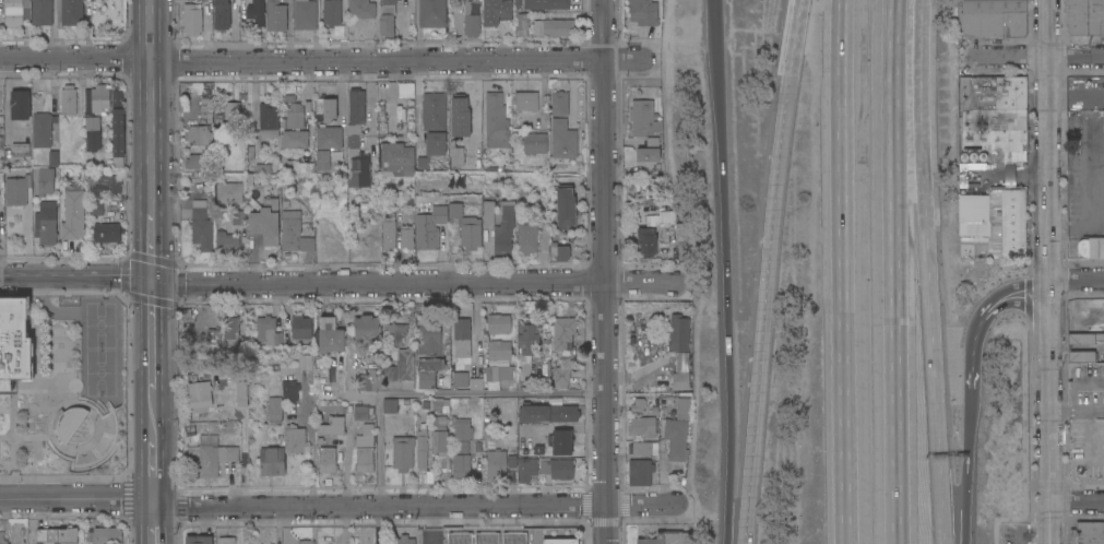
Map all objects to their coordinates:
building: (515, 2)
building: (546, 4)
building: (361, 9)
building: (72, 11)
building: (14, 12)
building: (41, 12)
building: (332, 12)
building: (495, 12)
building: (643, 12)
building: (256, 13)
building: (432, 13)
building: (304, 14)
building: (222, 15)
building: (276, 15)
building: (385, 17)
building: (994, 17)
building: (1085, 17)
building: (192, 20)
building: (470, 22)
building: (520, 24)
building: (560, 24)
road: (716, 26)
building: (536, 27)
road: (150, 31)
road: (1076, 58)
road: (322, 61)
building: (99, 98)
building: (288, 98)
building: (69, 100)
building: (524, 100)
building: (560, 103)
building: (20, 105)
road: (417, 105)
building: (307, 106)
building: (325, 108)
building: (206, 109)
road: (340, 109)
building: (435, 111)
building: (994, 115)
building: (294, 116)
building: (460, 116)
building: (355, 117)
building: (643, 118)
building: (232, 119)
building: (269, 120)
building: (496, 121)
building: (524, 121)
building: (283, 123)
building: (41, 129)
building: (118, 129)
building: (1103, 129)
building: (93, 132)
building: (199, 135)
road: (151, 137)
building: (329, 138)
building: (295, 139)
building: (563, 139)
road: (916, 141)
building: (435, 143)
building: (534, 143)
building: (21, 150)
building: (648, 151)
building: (396, 156)
building: (456, 156)
building: (54, 157)
building: (321, 159)
building: (199, 161)
building: (292, 167)
building: (261, 168)
building: (357, 168)
building: (46, 180)
building: (103, 184)
building: (16, 189)
building: (228, 192)
road: (1088, 192)
building: (355, 206)
building: (566, 206)
building: (96, 208)
building: (73, 211)
building: (488, 216)
building: (2, 217)
building: (239, 217)
building: (661, 218)
building: (266, 221)
building: (46, 223)
building: (201, 225)
building: (1002, 225)
building: (430, 227)
building: (465, 227)
building: (504, 230)
building: (107, 232)
building: (389, 233)
building: (289, 234)
building: (660, 235)
building: (407, 237)
building: (227, 241)
building: (533, 241)
building: (646, 241)
building: (307, 244)
road: (152, 247)
building: (669, 247)
building: (1091, 247)
building: (560, 251)
road: (179, 263)
road: (771, 271)
road: (844, 271)
road: (902, 271)
road: (604, 272)
road: (1046, 272)
road: (75, 279)
road: (1075, 279)
traffic signals: (152, 281)
road: (418, 283)
street lamp: (16, 289)
road: (1006, 294)
road: (728, 298)
street lamp: (128, 307)
road: (48, 310)
building: (1088, 316)
building: (498, 323)
park: (99, 324)
road: (475, 324)
building: (367, 328)
building: (301, 329)
building: (227, 331)
building: (269, 331)
street lamp: (62, 332)
building: (563, 332)
building: (678, 332)
road: (152, 334)
building: (394, 334)
building: (330, 335)
building: (529, 335)
building: (15, 338)
building: (1084, 339)
building: (499, 350)
building: (461, 351)
building: (431, 354)
road: (52, 356)
building: (1080, 356)
road: (969, 357)
building: (307, 362)
building: (402, 368)
building: (538, 368)
street lamp: (62, 371)
park: (99, 371)
building: (562, 376)
building: (679, 380)
road: (1076, 381)
road: (129, 383)
building: (369, 383)
building: (289, 388)
road: (436, 392)
building: (201, 395)
building: (242, 395)
street lamp: (45, 399)
street lamp: (114, 405)
building: (390, 405)
building: (637, 405)
road: (152, 407)
road: (5, 409)
building: (275, 409)
road: (1090, 410)
building: (654, 411)
road: (1061, 411)
building: (361, 412)
building: (548, 413)
road: (935, 413)
street lamp: (119, 417)
street lamp: (93, 418)
building: (405, 419)
building: (67, 422)
road: (88, 424)
building: (333, 426)
building: (643, 426)
road: (86, 428)
building: (678, 430)
road: (82, 435)
building: (461, 435)
building: (526, 435)
road: (31, 436)
building: (294, 439)
building: (441, 440)
building: (560, 441)
road: (58, 445)
road: (310, 445)
street lamp: (73, 446)
building: (422, 446)
building: (642, 448)
building: (364, 449)
building: (401, 451)
road: (12, 457)
street lamp: (45, 458)
building: (213, 459)
building: (328, 460)
street lamp: (108, 461)
building: (271, 461)
building: (498, 464)
building: (461, 465)
road: (153, 466)
building: (558, 468)
building: (526, 469)
road: (965, 469)
street lamp: (86, 472)
building: (640, 472)
street lamp: (110, 480)
street lamp: (17, 481)
road: (127, 497)
road: (1077, 499)
road: (340, 508)
road: (153, 524)
building: (1090, 533)
building: (62, 535)
building: (107, 535)
building: (363, 535)
building: (511, 537)
building: (666, 537)
building: (2, 539)
building: (465, 539)
building: (484, 539)
building: (198, 540)
building: (404, 540)
building: (227, 541)
building: (558, 541)
building: (306, 542)

